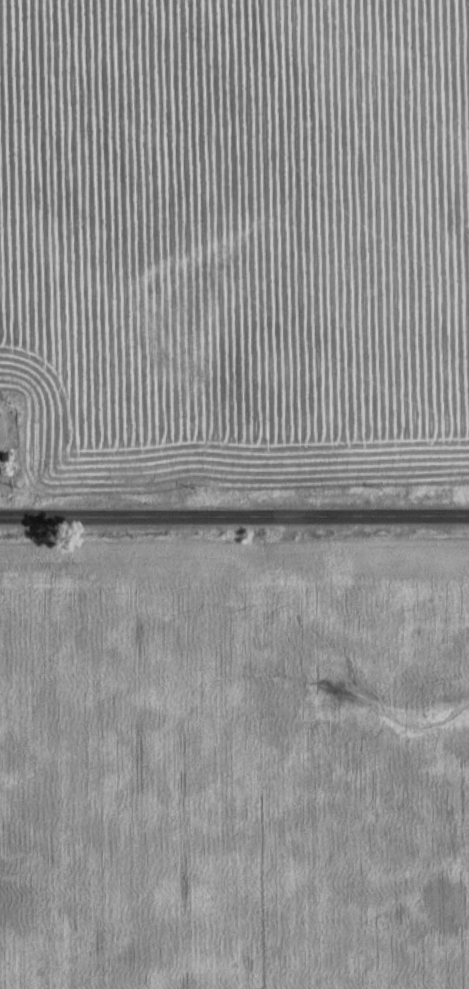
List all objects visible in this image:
road: (234, 504)

